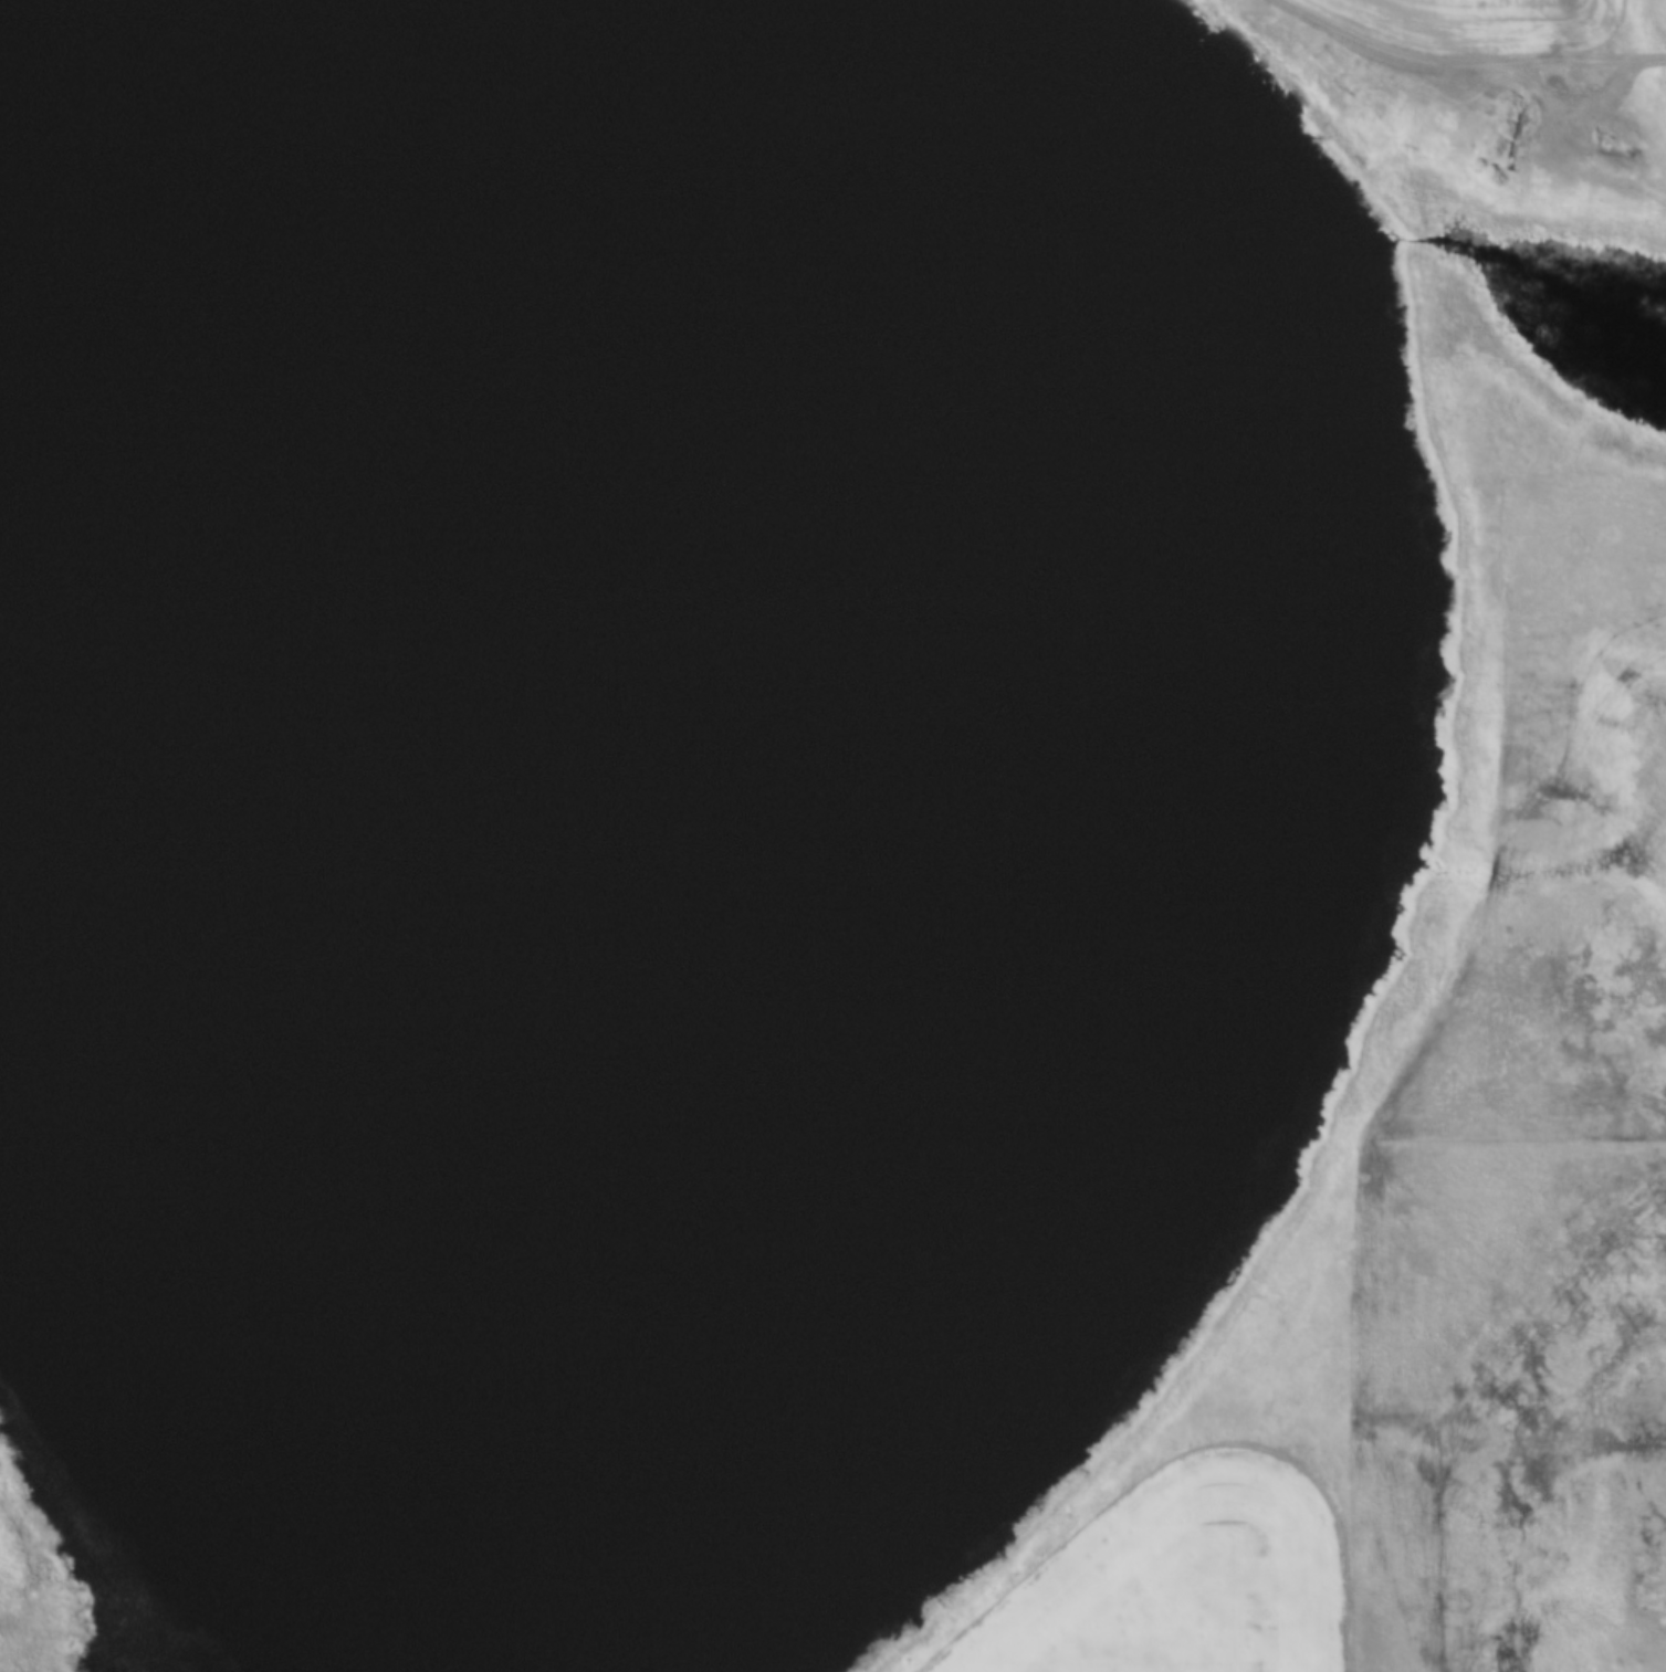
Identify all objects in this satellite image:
road: (1471, 62)

